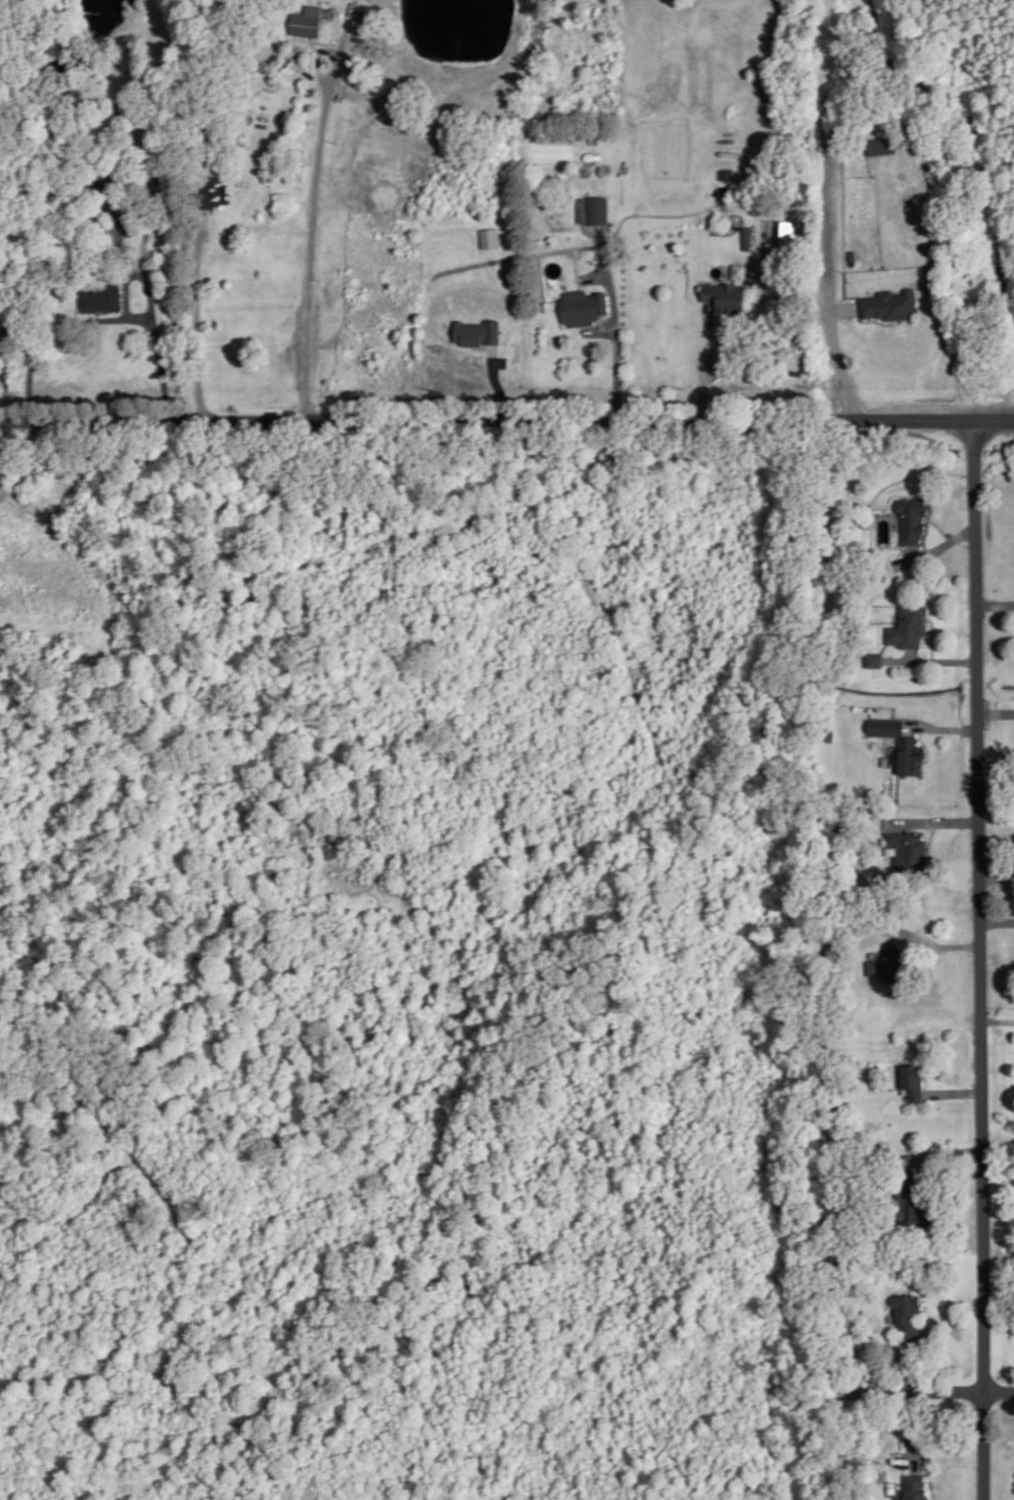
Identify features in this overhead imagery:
building: (307, 20)
road: (316, 62)
building: (881, 143)
building: (214, 190)
building: (599, 208)
road: (313, 211)
building: (131, 226)
building: (748, 234)
building: (488, 238)
road: (828, 254)
building: (738, 271)
road: (126, 285)
building: (725, 294)
building: (101, 299)
building: (891, 302)
building: (582, 305)
road: (844, 308)
road: (876, 318)
road: (196, 320)
road: (614, 322)
road: (55, 329)
road: (600, 329)
building: (479, 330)
building: (5, 335)
road: (157, 340)
road: (706, 362)
road: (494, 381)
road: (506, 418)
street lamp: (986, 453)
road: (33, 462)
building: (913, 517)
road: (938, 525)
road: (937, 548)
flagpole: (953, 558)
road: (995, 603)
building: (910, 624)
road: (932, 636)
building: (874, 658)
road: (931, 659)
road: (996, 712)
road: (943, 727)
building: (908, 741)
road: (933, 821)
road: (931, 834)
building: (909, 843)
road: (997, 875)
road: (997, 920)
road: (948, 944)
road: (981, 959)
building: (888, 966)
road: (998, 1019)
building: (911, 1081)
road: (953, 1092)
road: (940, 1151)
road: (998, 1167)
building: (912, 1201)
building: (910, 1313)
road: (931, 1393)
road: (907, 1422)
building: (915, 1488)

